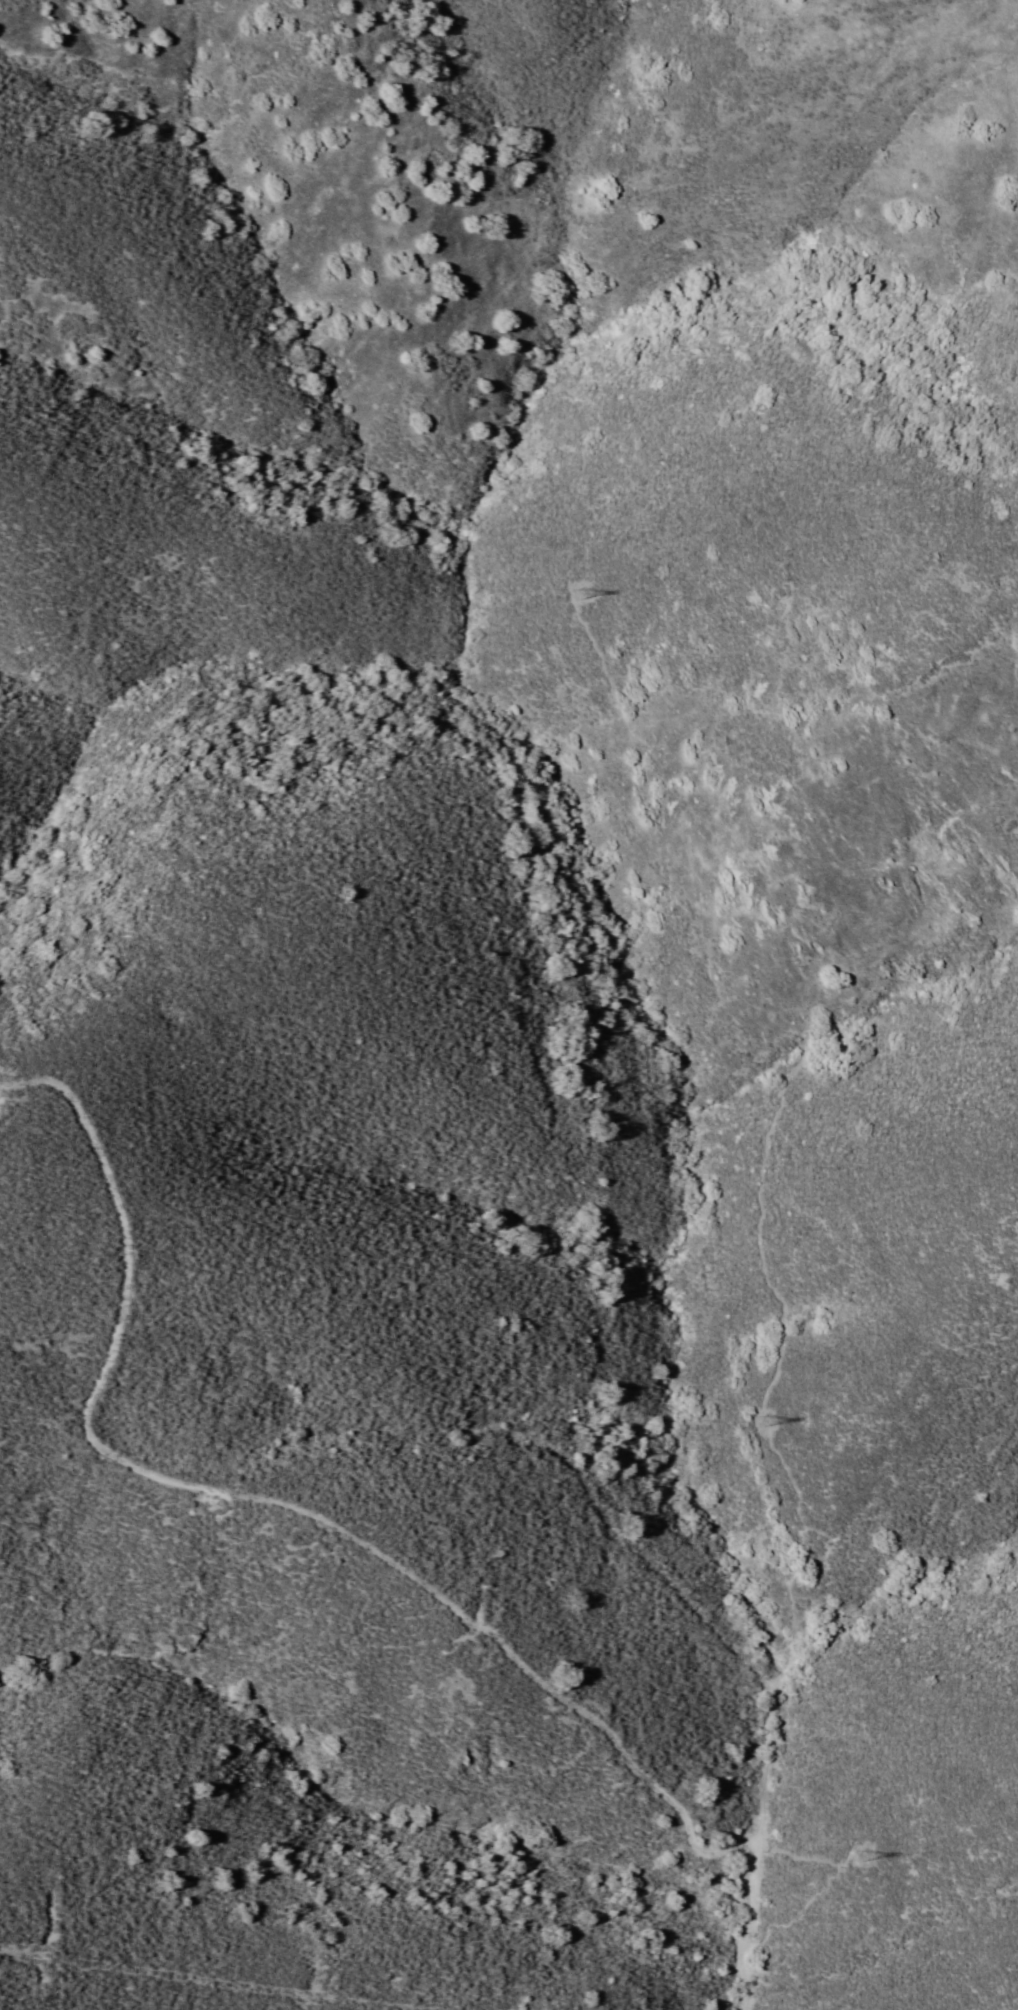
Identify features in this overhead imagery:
road: (272, 1503)
road: (748, 1667)
road: (210, 1981)

